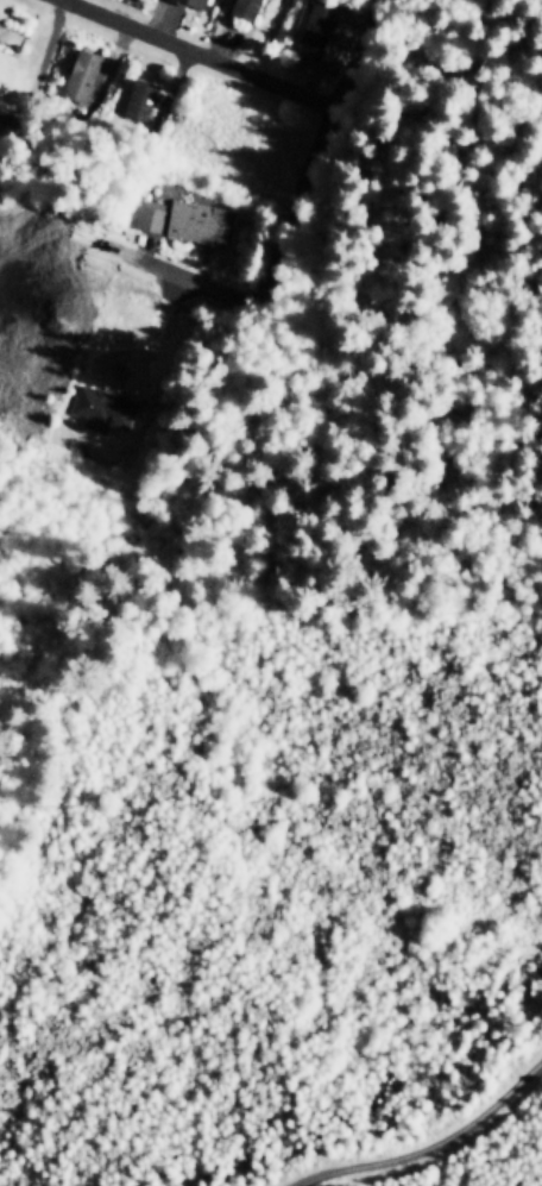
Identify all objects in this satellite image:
building: (193, 2)
building: (242, 7)
building: (298, 19)
building: (314, 29)
road: (49, 43)
road: (351, 51)
road: (194, 54)
building: (80, 73)
building: (137, 98)
building: (147, 213)
building: (195, 219)
road: (264, 251)
building: (99, 407)
road: (428, 1148)

